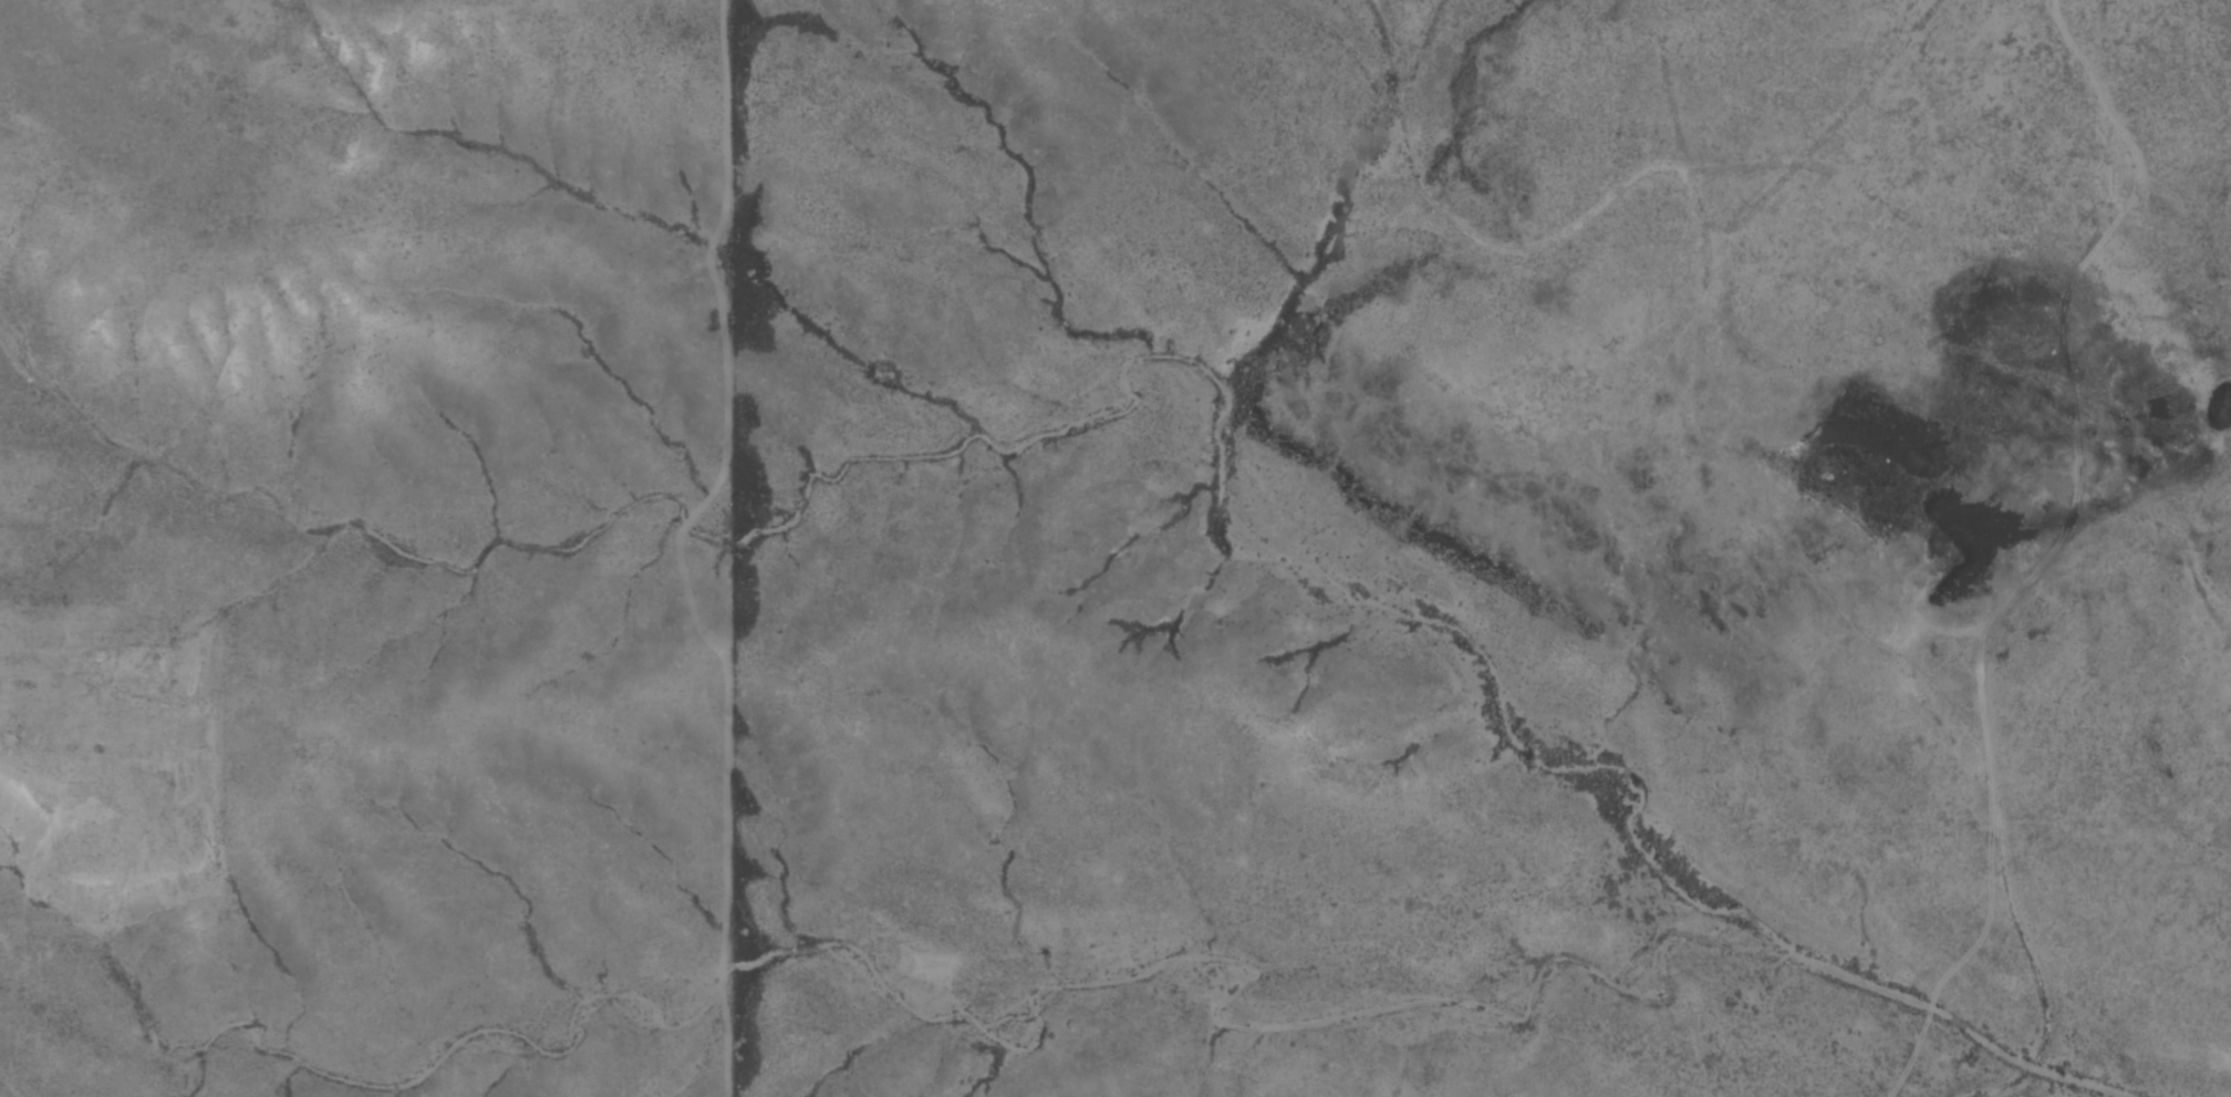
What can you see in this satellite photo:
road: (2053, 552)

